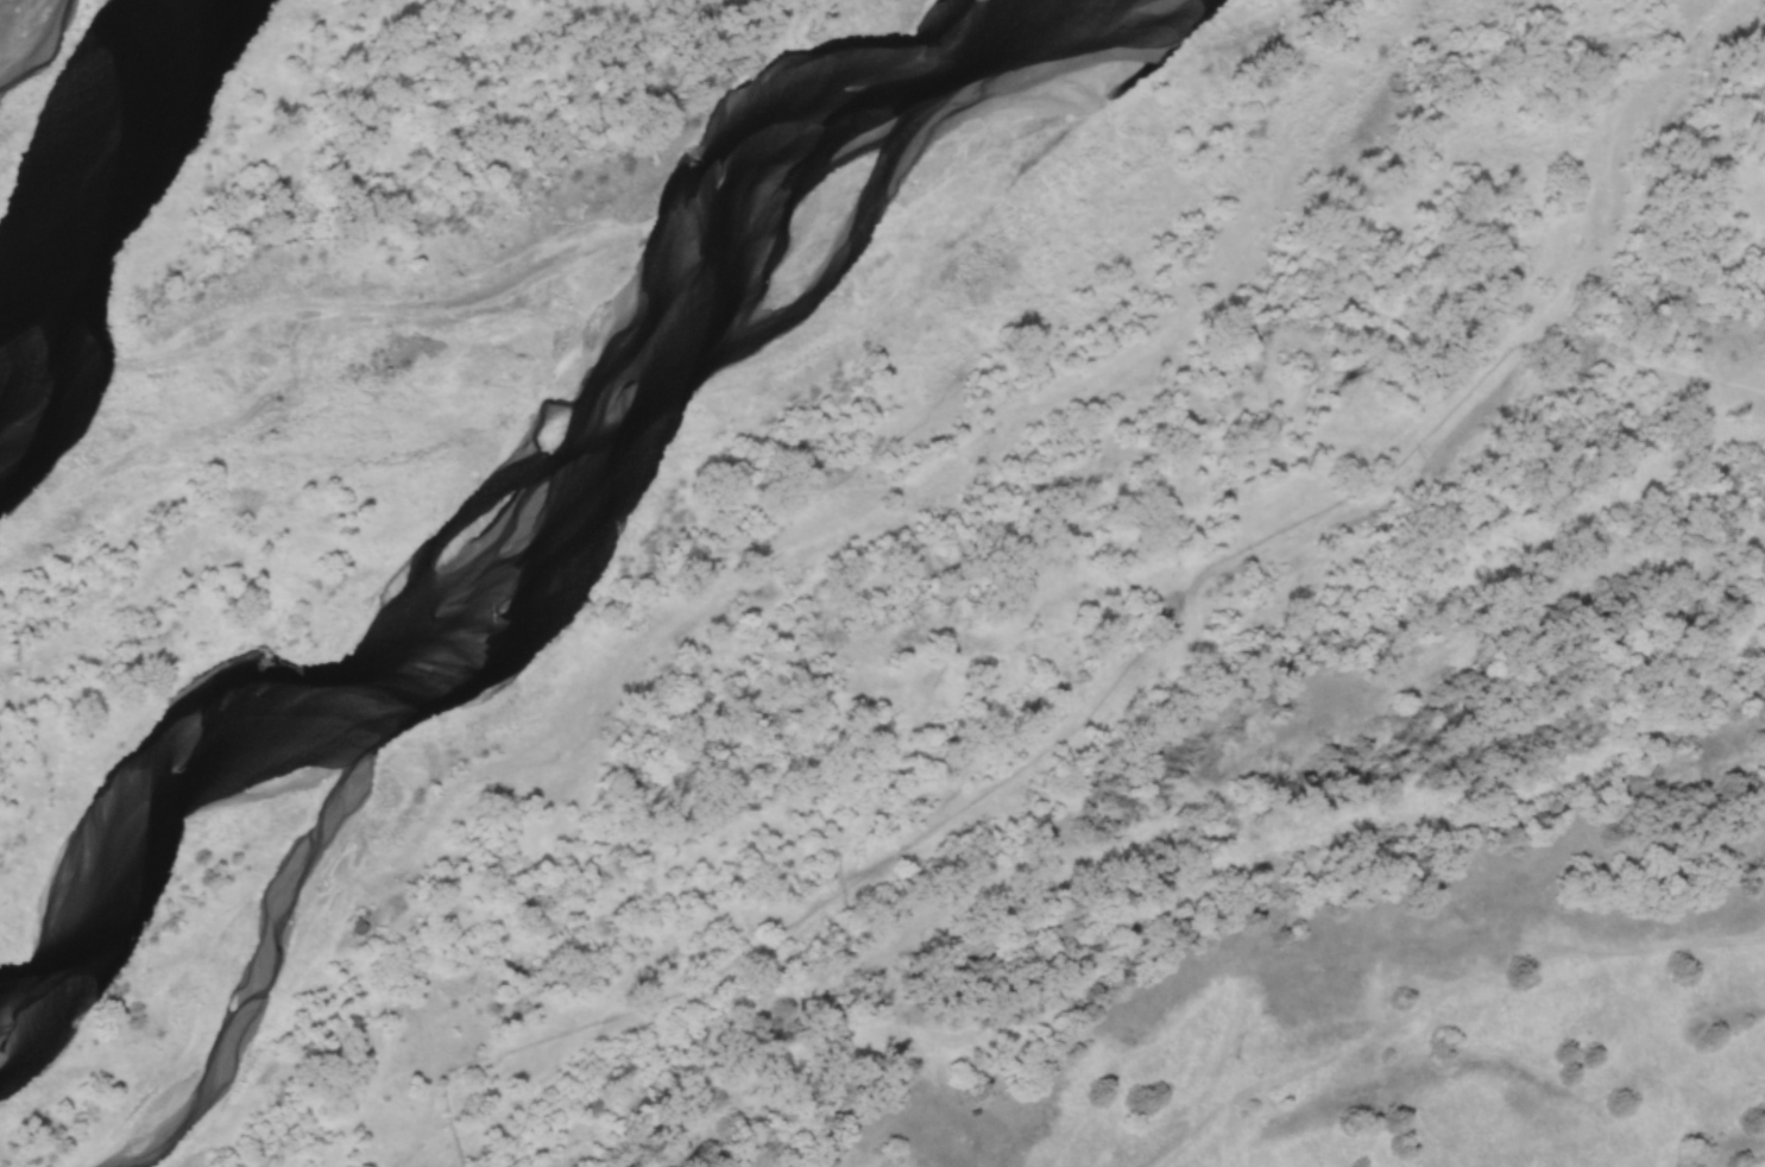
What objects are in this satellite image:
river: (105, 188)

